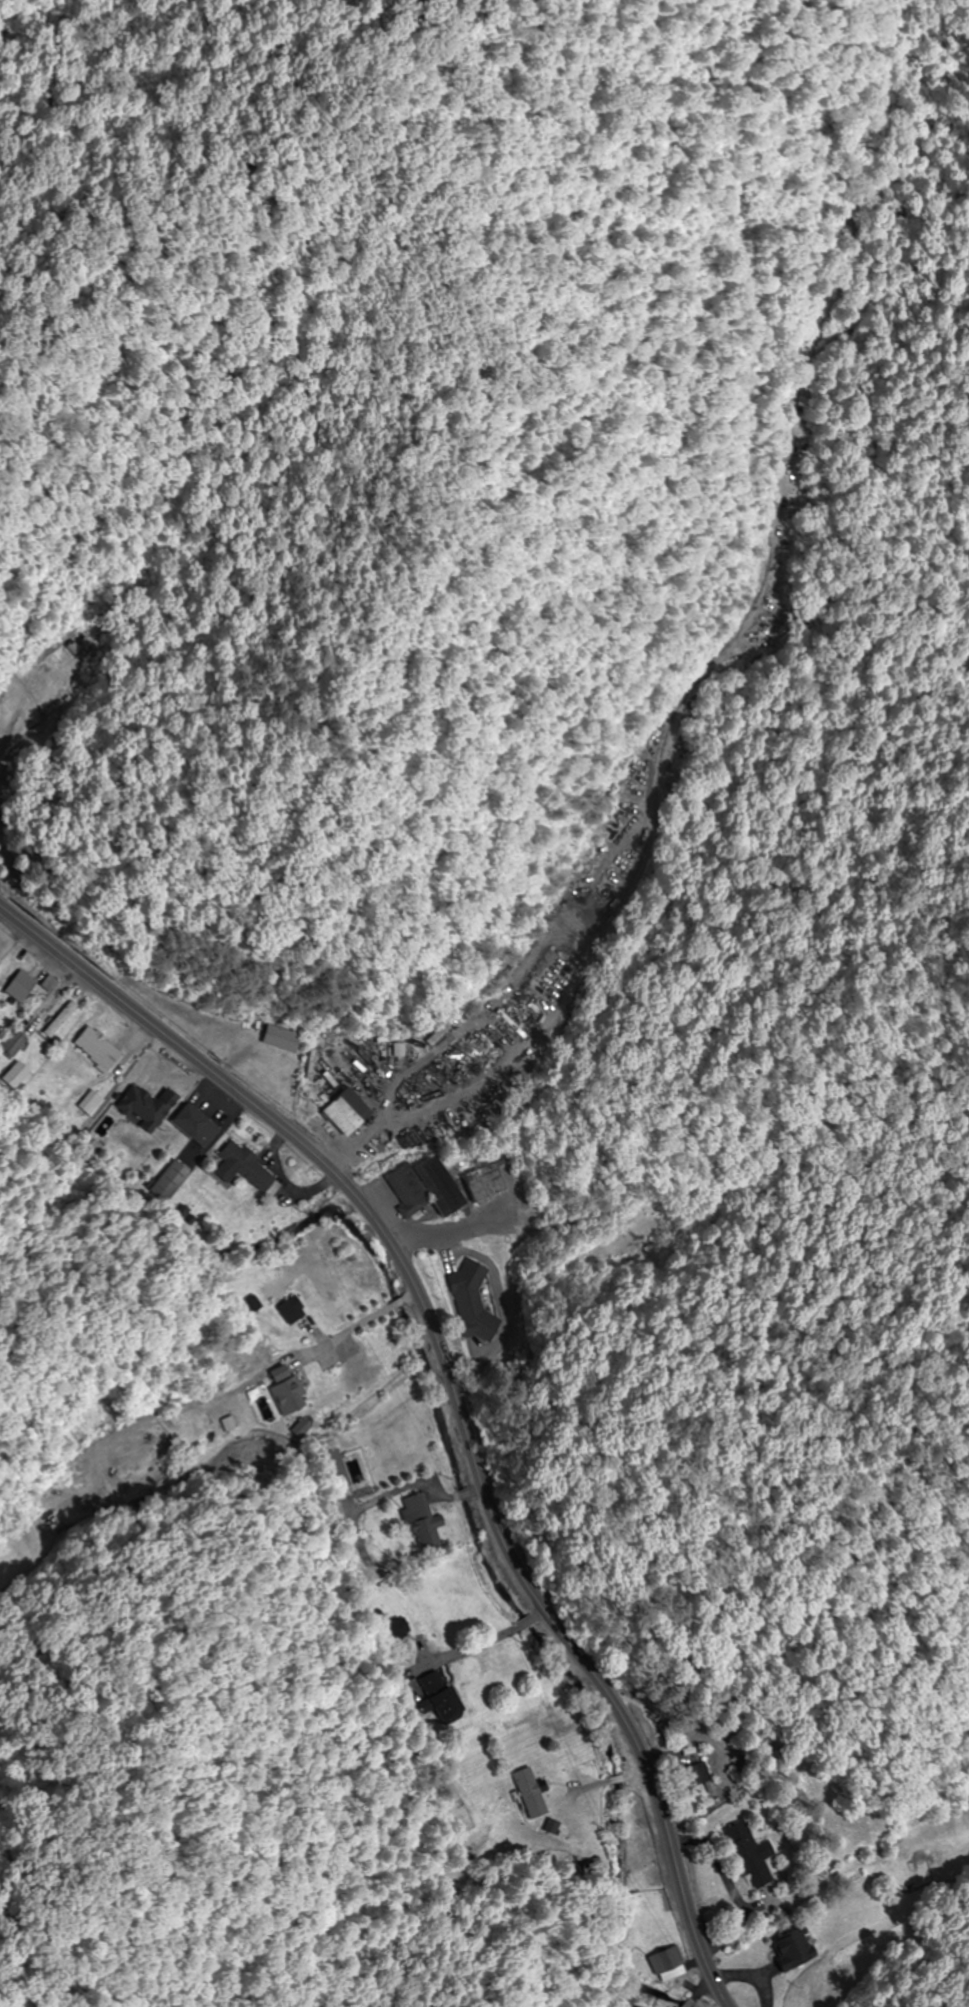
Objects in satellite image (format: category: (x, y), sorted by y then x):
building: (76, 648)
road: (607, 812)
building: (46, 982)
building: (16, 987)
building: (57, 1020)
building: (434, 1035)
building: (9, 1043)
building: (94, 1049)
building: (14, 1075)
building: (141, 1108)
building: (341, 1112)
building: (190, 1126)
building: (240, 1168)
building: (478, 1180)
building: (420, 1188)
building: (470, 1303)
building: (290, 1310)
building: (285, 1391)
road: (452, 1393)
building: (333, 1470)
building: (419, 1521)
building: (397, 1628)
building: (435, 1697)
building: (691, 1776)
building: (537, 1794)
building: (638, 1848)
building: (746, 1854)
building: (790, 1947)
building: (662, 1959)
building: (620, 2001)

